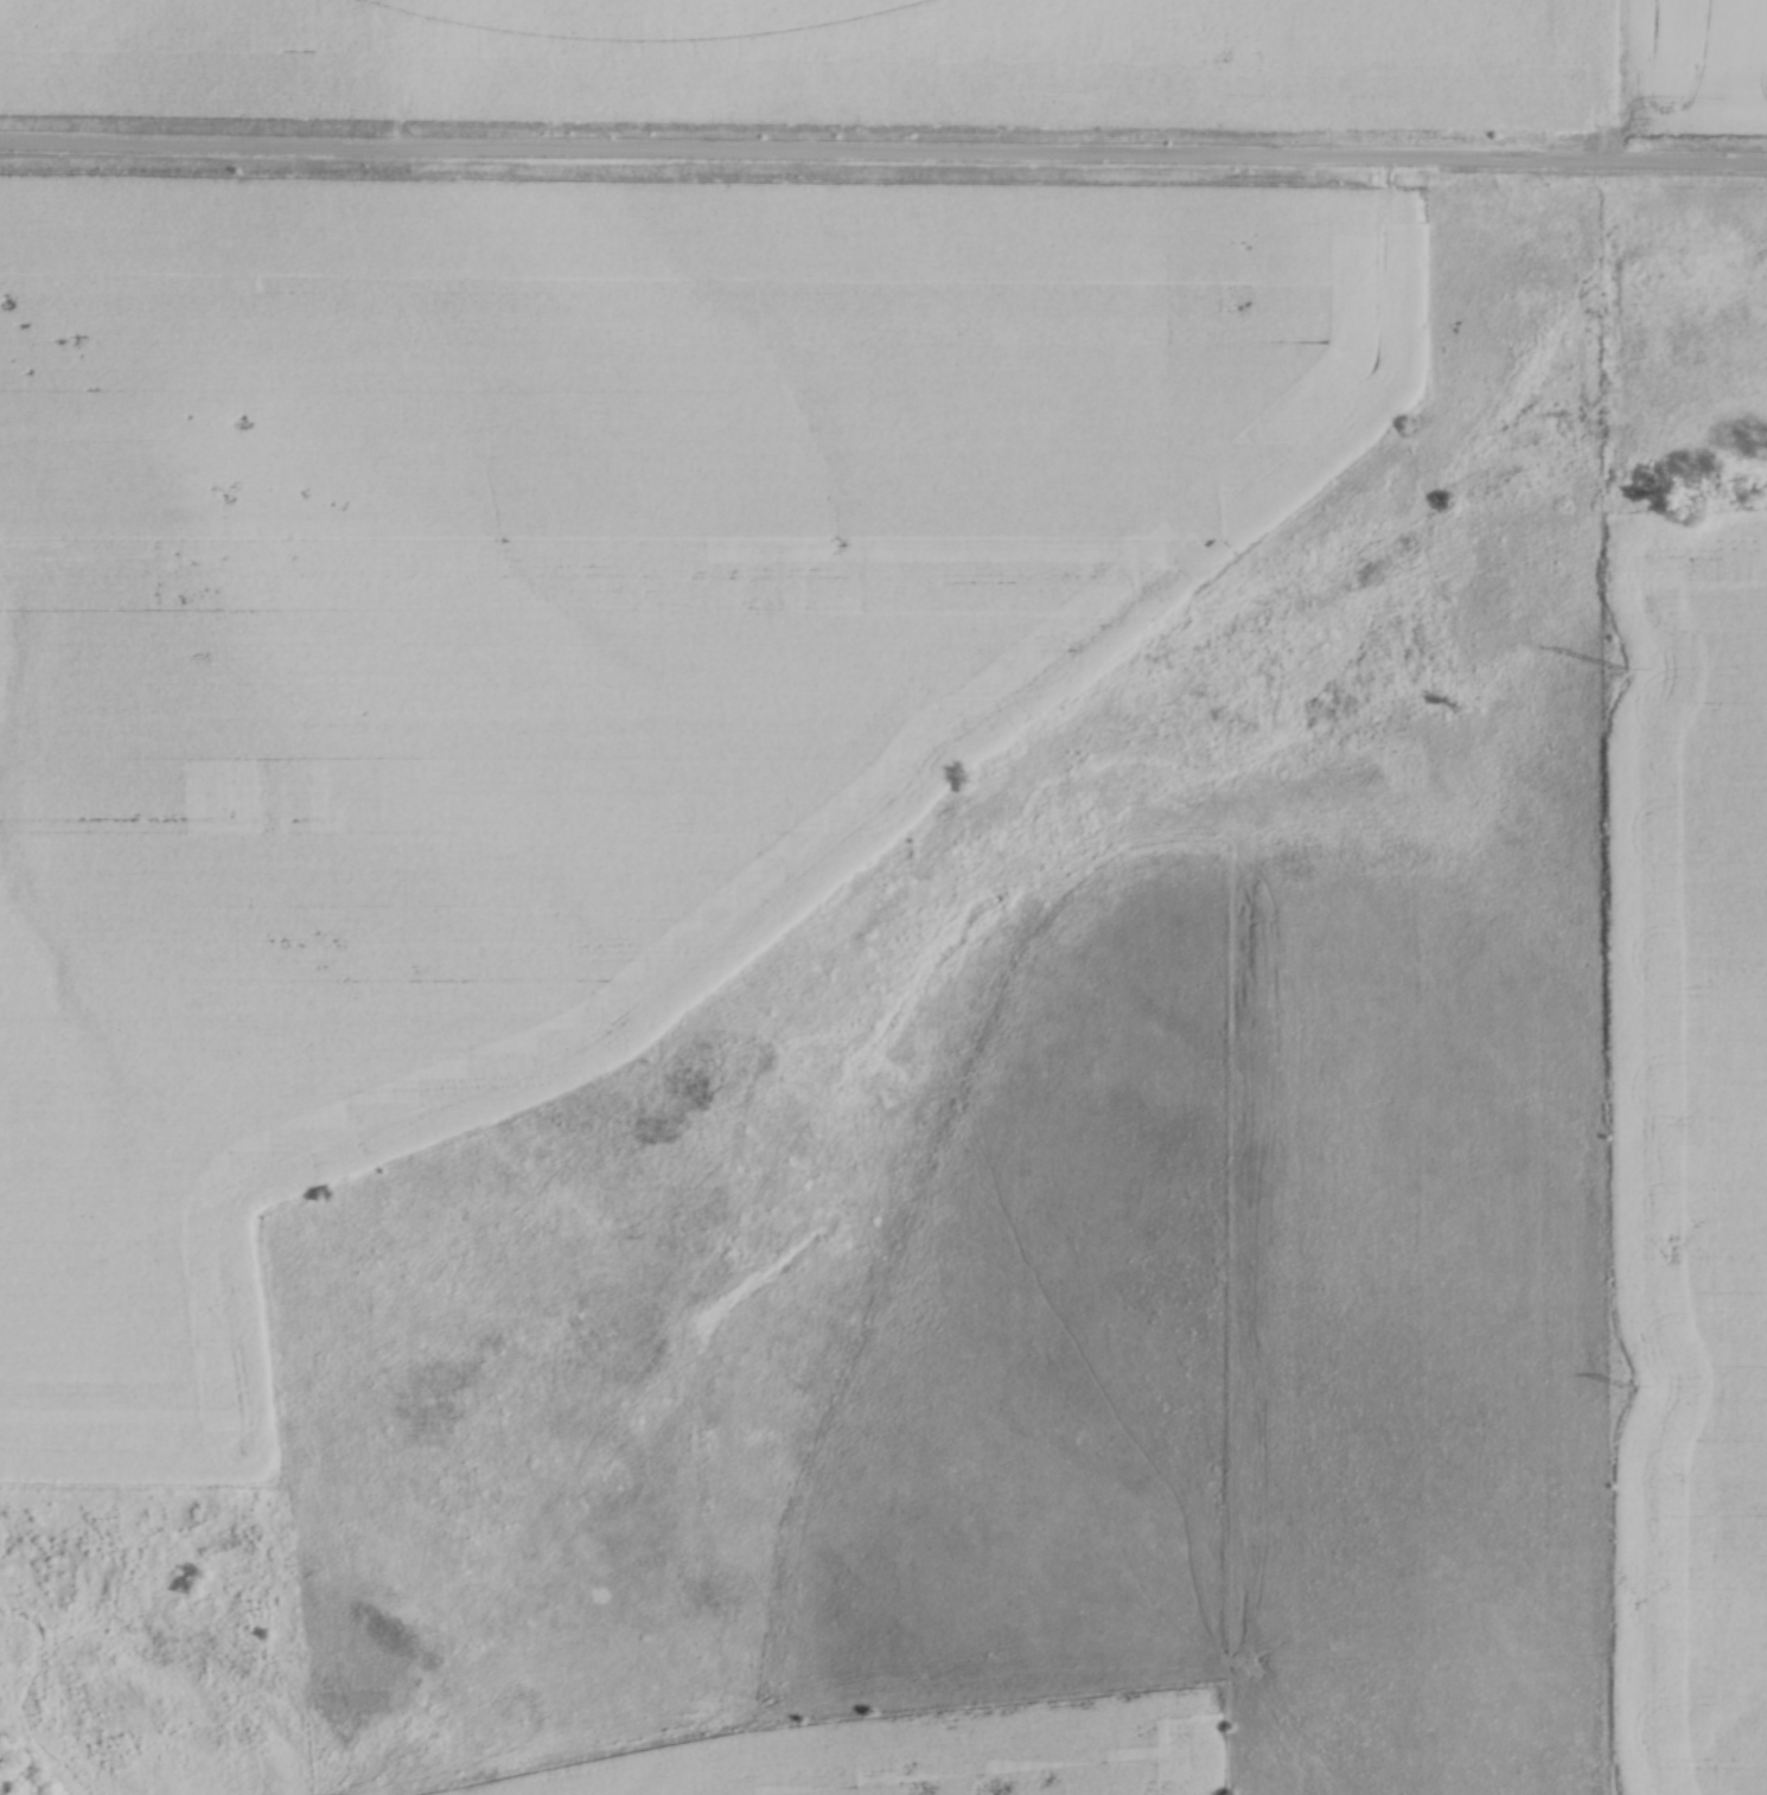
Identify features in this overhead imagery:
road: (882, 160)
power tower: (1622, 669)
power tower: (1627, 1385)

